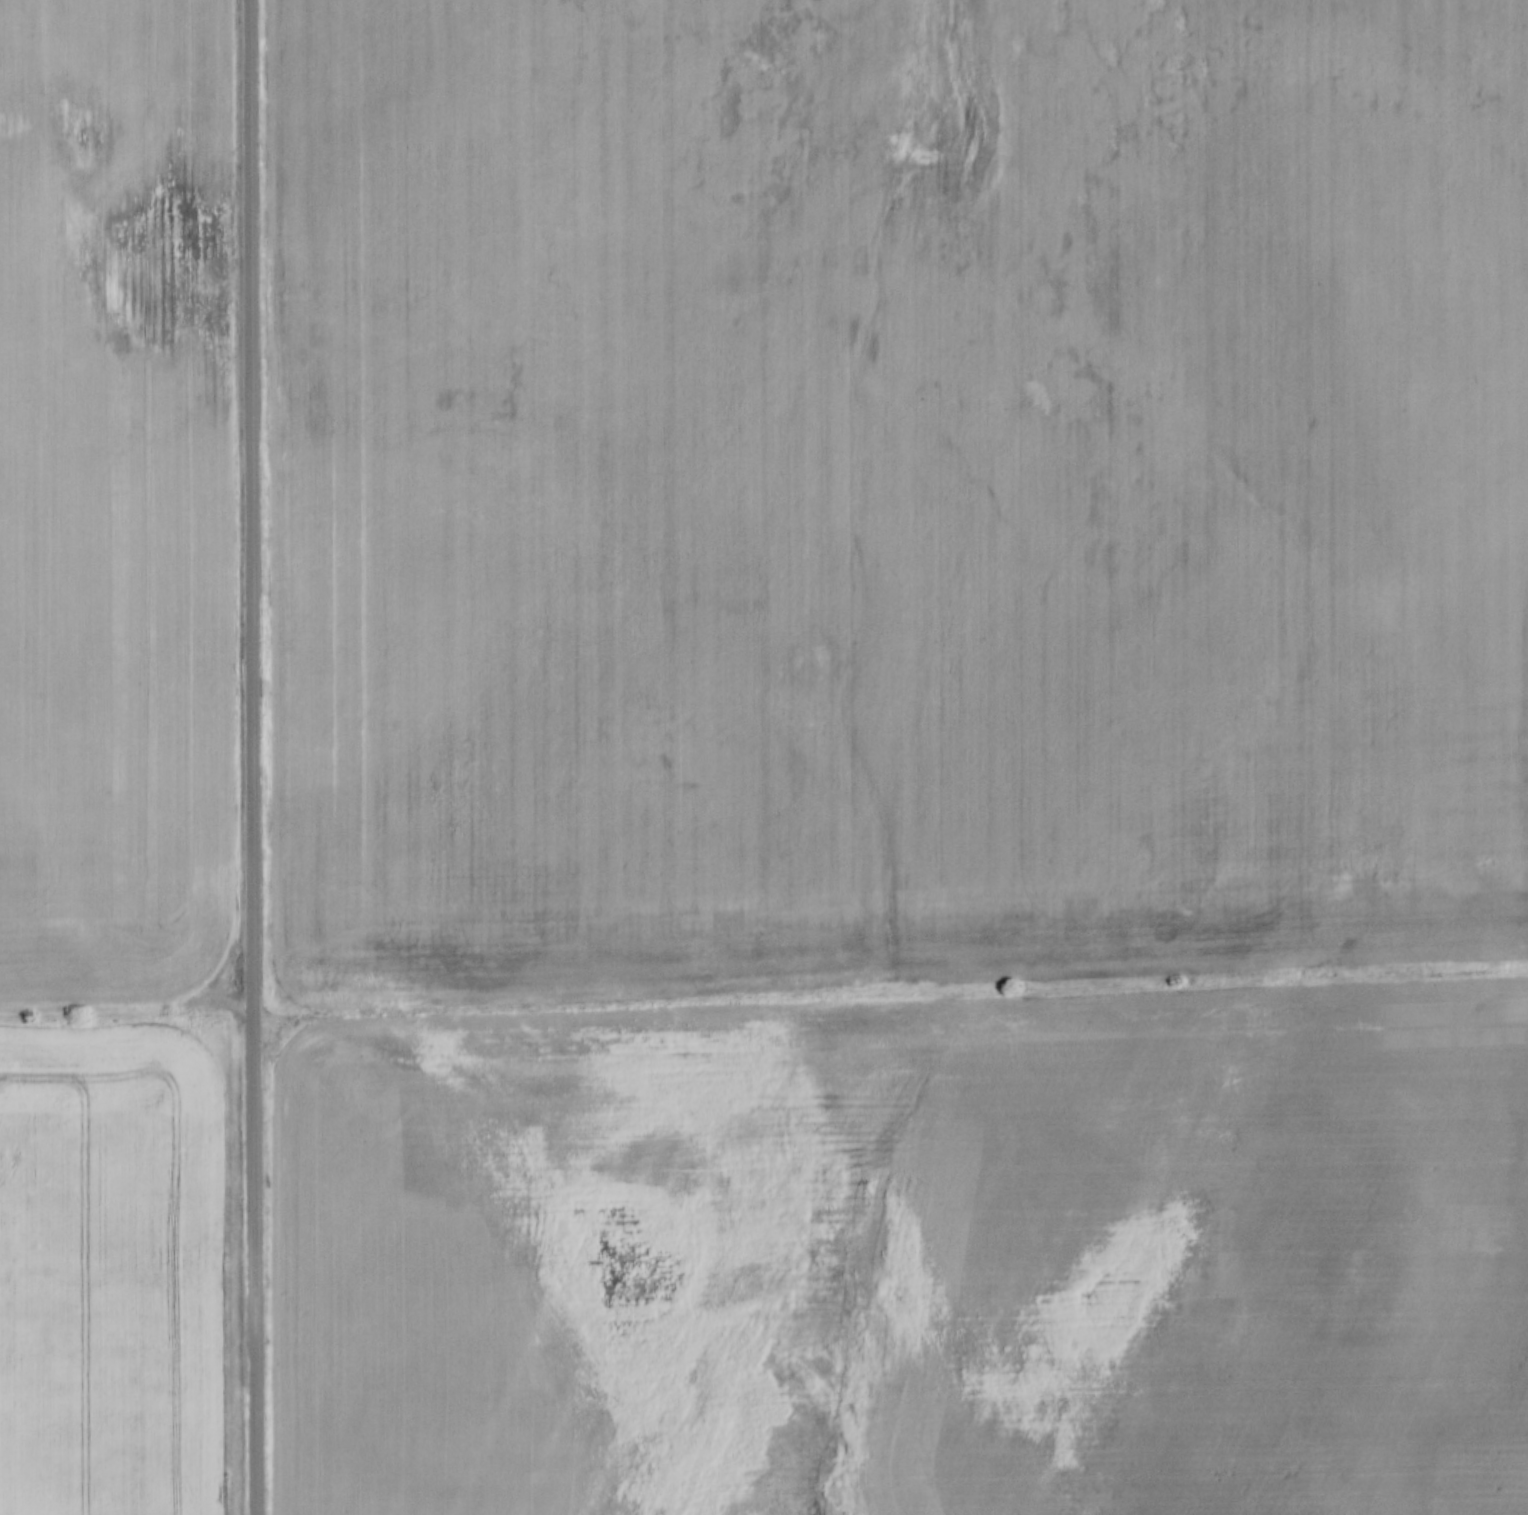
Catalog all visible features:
road: (249, 757)
road: (125, 1015)

